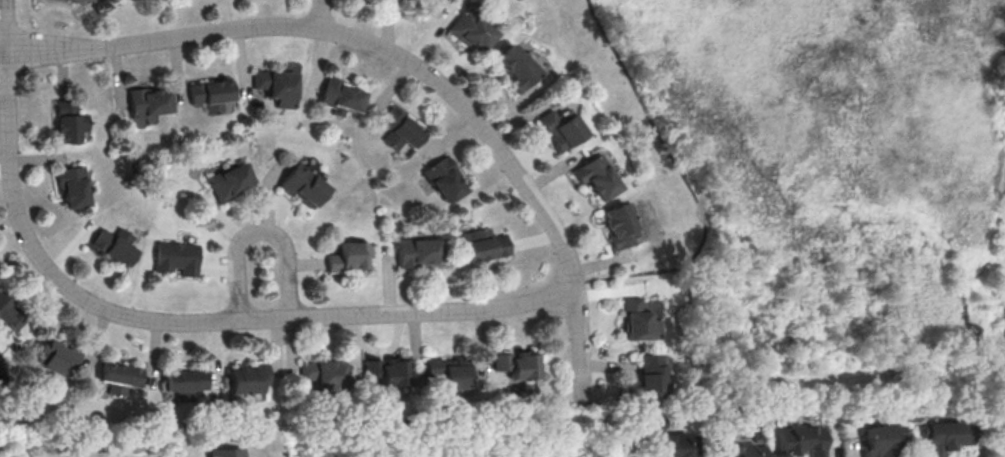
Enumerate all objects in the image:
building: (84, 0)
road: (320, 14)
building: (469, 28)
road: (3, 47)
road: (3, 51)
road: (405, 59)
building: (512, 66)
building: (278, 85)
building: (211, 93)
building: (344, 93)
building: (148, 100)
building: (72, 125)
building: (400, 127)
building: (556, 127)
building: (593, 174)
building: (445, 178)
building: (231, 180)
building: (73, 184)
building: (304, 185)
road: (688, 185)
building: (616, 224)
road: (263, 229)
building: (114, 243)
building: (481, 243)
building: (419, 249)
building: (352, 254)
building: (178, 255)
building: (10, 313)
building: (635, 320)
road: (163, 321)
building: (57, 356)
building: (514, 363)
building: (387, 370)
building: (448, 372)
building: (324, 373)
building: (648, 373)
building: (120, 375)
building: (248, 378)
building: (186, 381)
building: (946, 435)
building: (803, 438)
building: (883, 440)
building: (673, 445)
building: (743, 448)
building: (227, 451)

